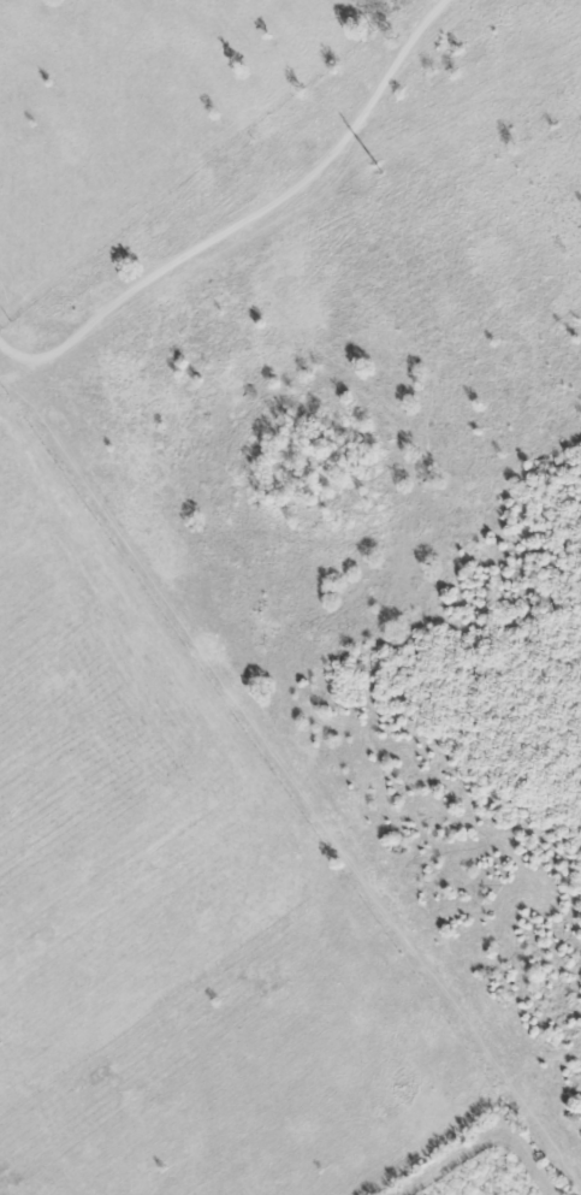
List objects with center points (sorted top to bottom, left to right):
power tower: (385, 174)

